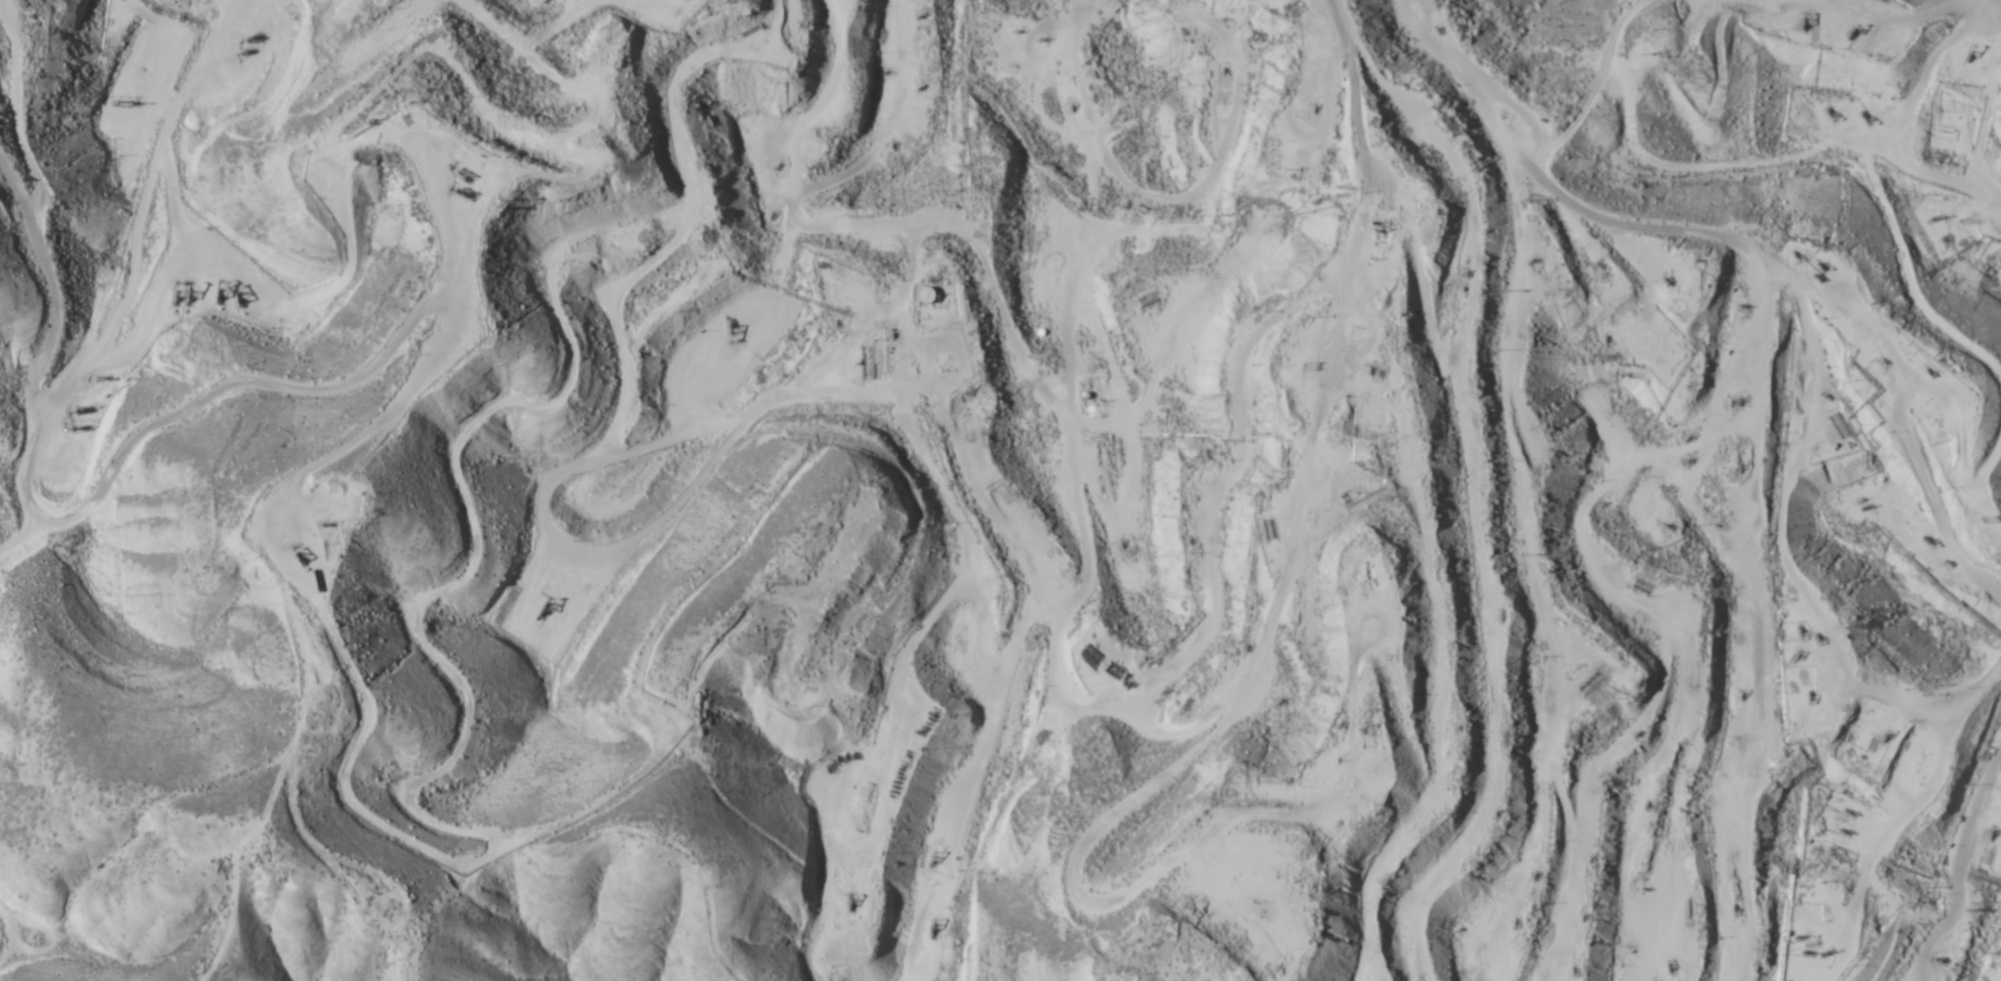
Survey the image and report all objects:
road: (241, 14)
road: (1595, 89)
building: (458, 184)
road: (135, 215)
road: (1680, 229)
building: (1035, 243)
building: (923, 297)
road: (338, 452)
road: (1626, 469)
road: (98, 490)
road: (1982, 498)
road: (209, 790)
road: (527, 841)
road: (1856, 858)

